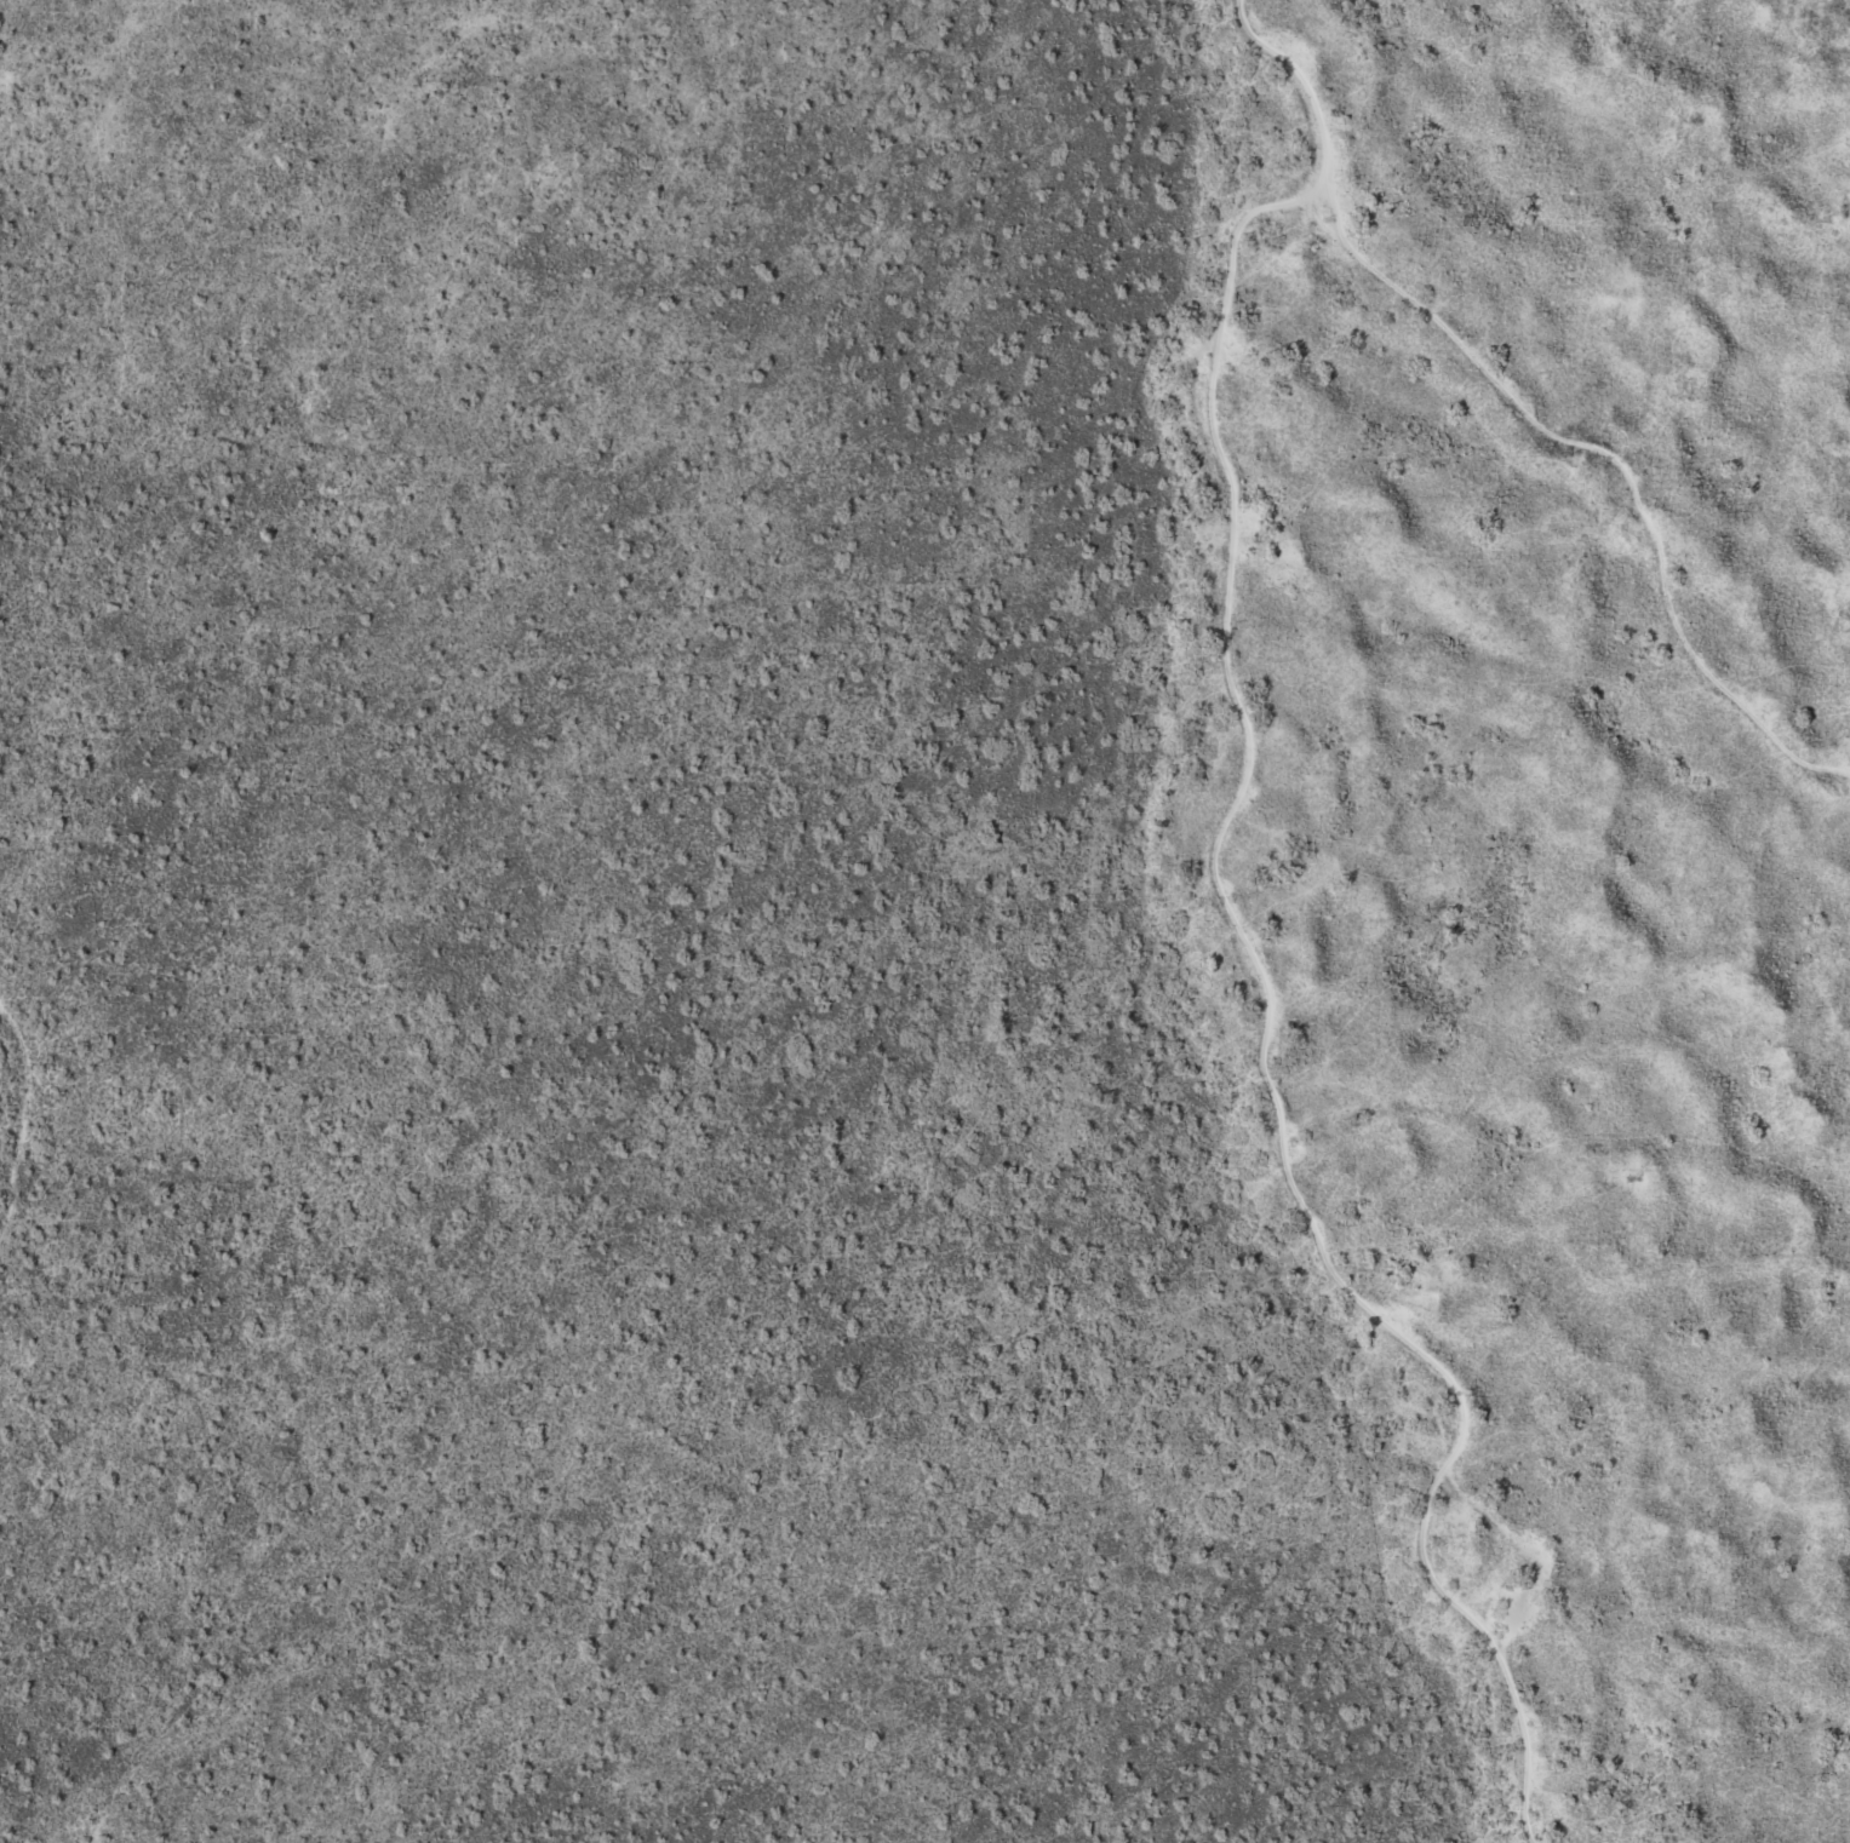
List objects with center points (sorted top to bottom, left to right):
road: (0, 997)

